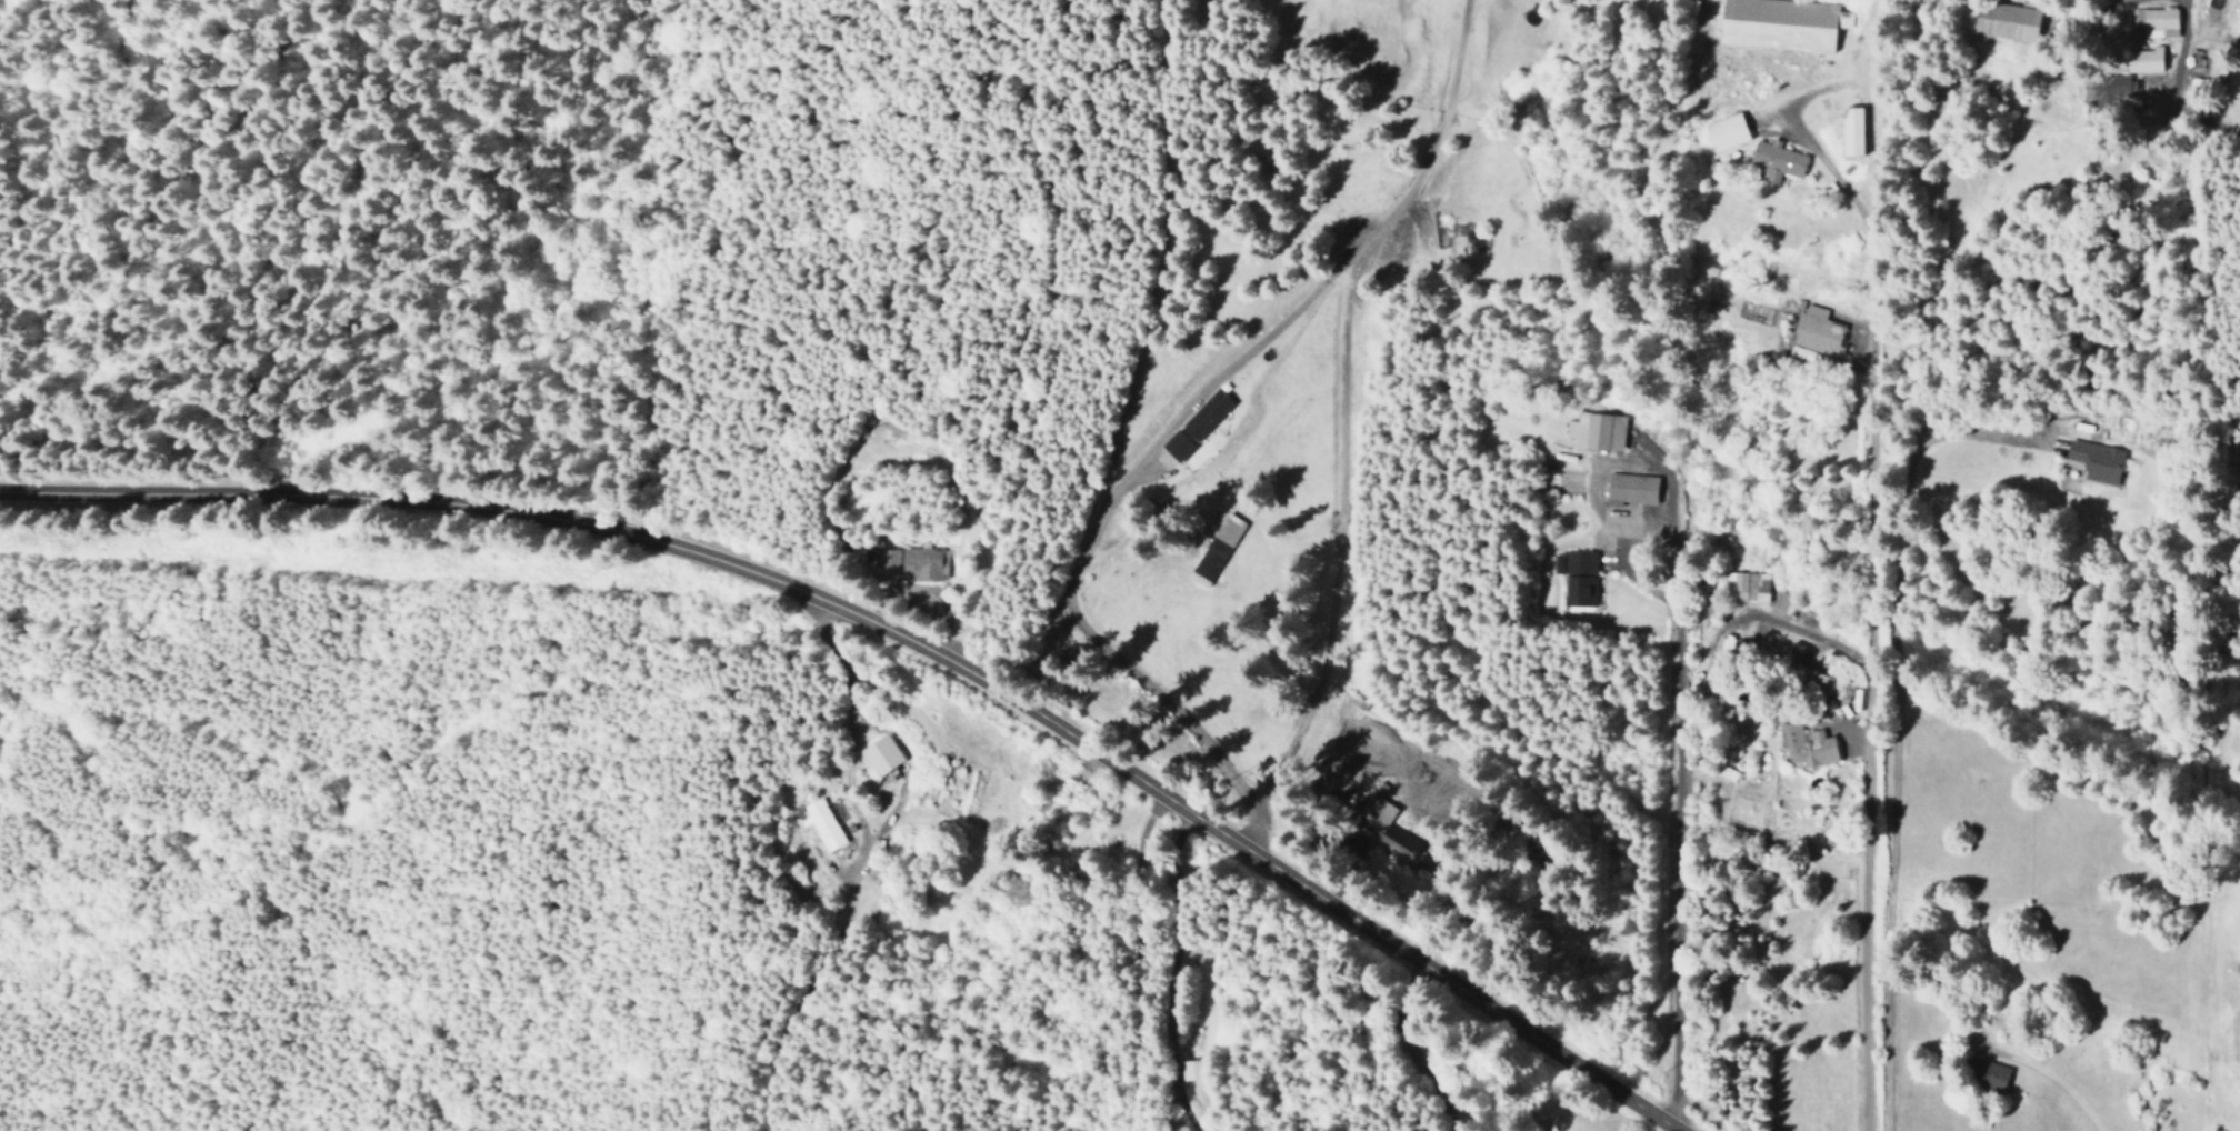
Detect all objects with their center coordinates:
building: (2006, 20)
building: (2153, 22)
building: (1778, 23)
building: (2144, 59)
building: (2107, 89)
building: (1852, 130)
building: (1724, 131)
building: (1777, 160)
building: (1816, 333)
building: (1207, 413)
road: (1338, 419)
building: (1596, 430)
building: (1177, 444)
building: (2239, 456)
building: (2096, 460)
building: (1630, 488)
building: (1216, 549)
building: (1577, 575)
building: (1747, 587)
road: (1864, 607)
road: (893, 640)
building: (1809, 678)
building: (1807, 745)
building: (881, 754)
road: (400, 798)
road: (1664, 808)
building: (820, 823)
road: (820, 875)
road: (466, 932)
road: (1168, 974)
road: (1418, 1047)
building: (1192, 1069)
building: (1988, 1071)
road: (2052, 1083)

